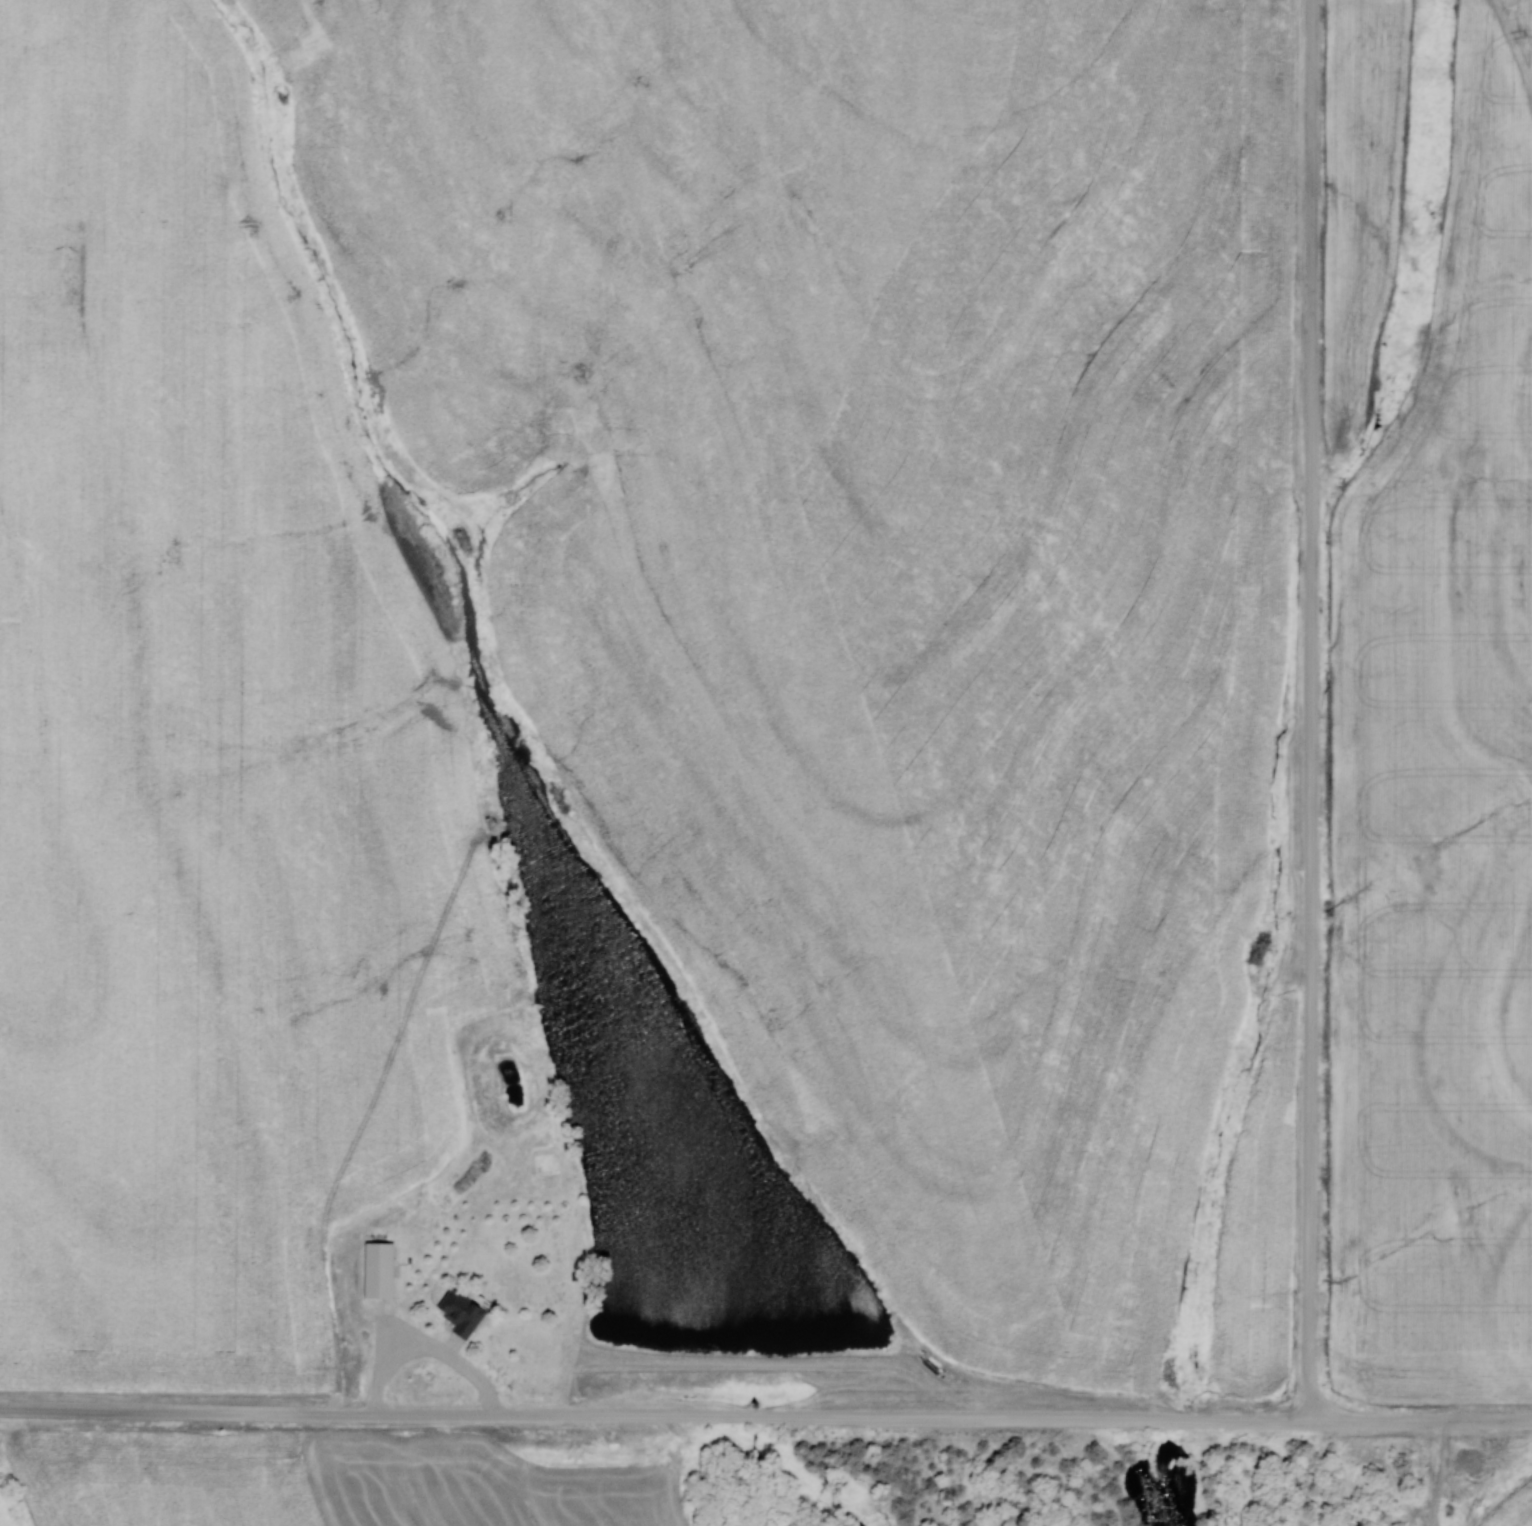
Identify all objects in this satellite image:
road: (1313, 712)
building: (383, 1257)
building: (459, 1313)
road: (765, 1416)
road: (1433, 1474)

